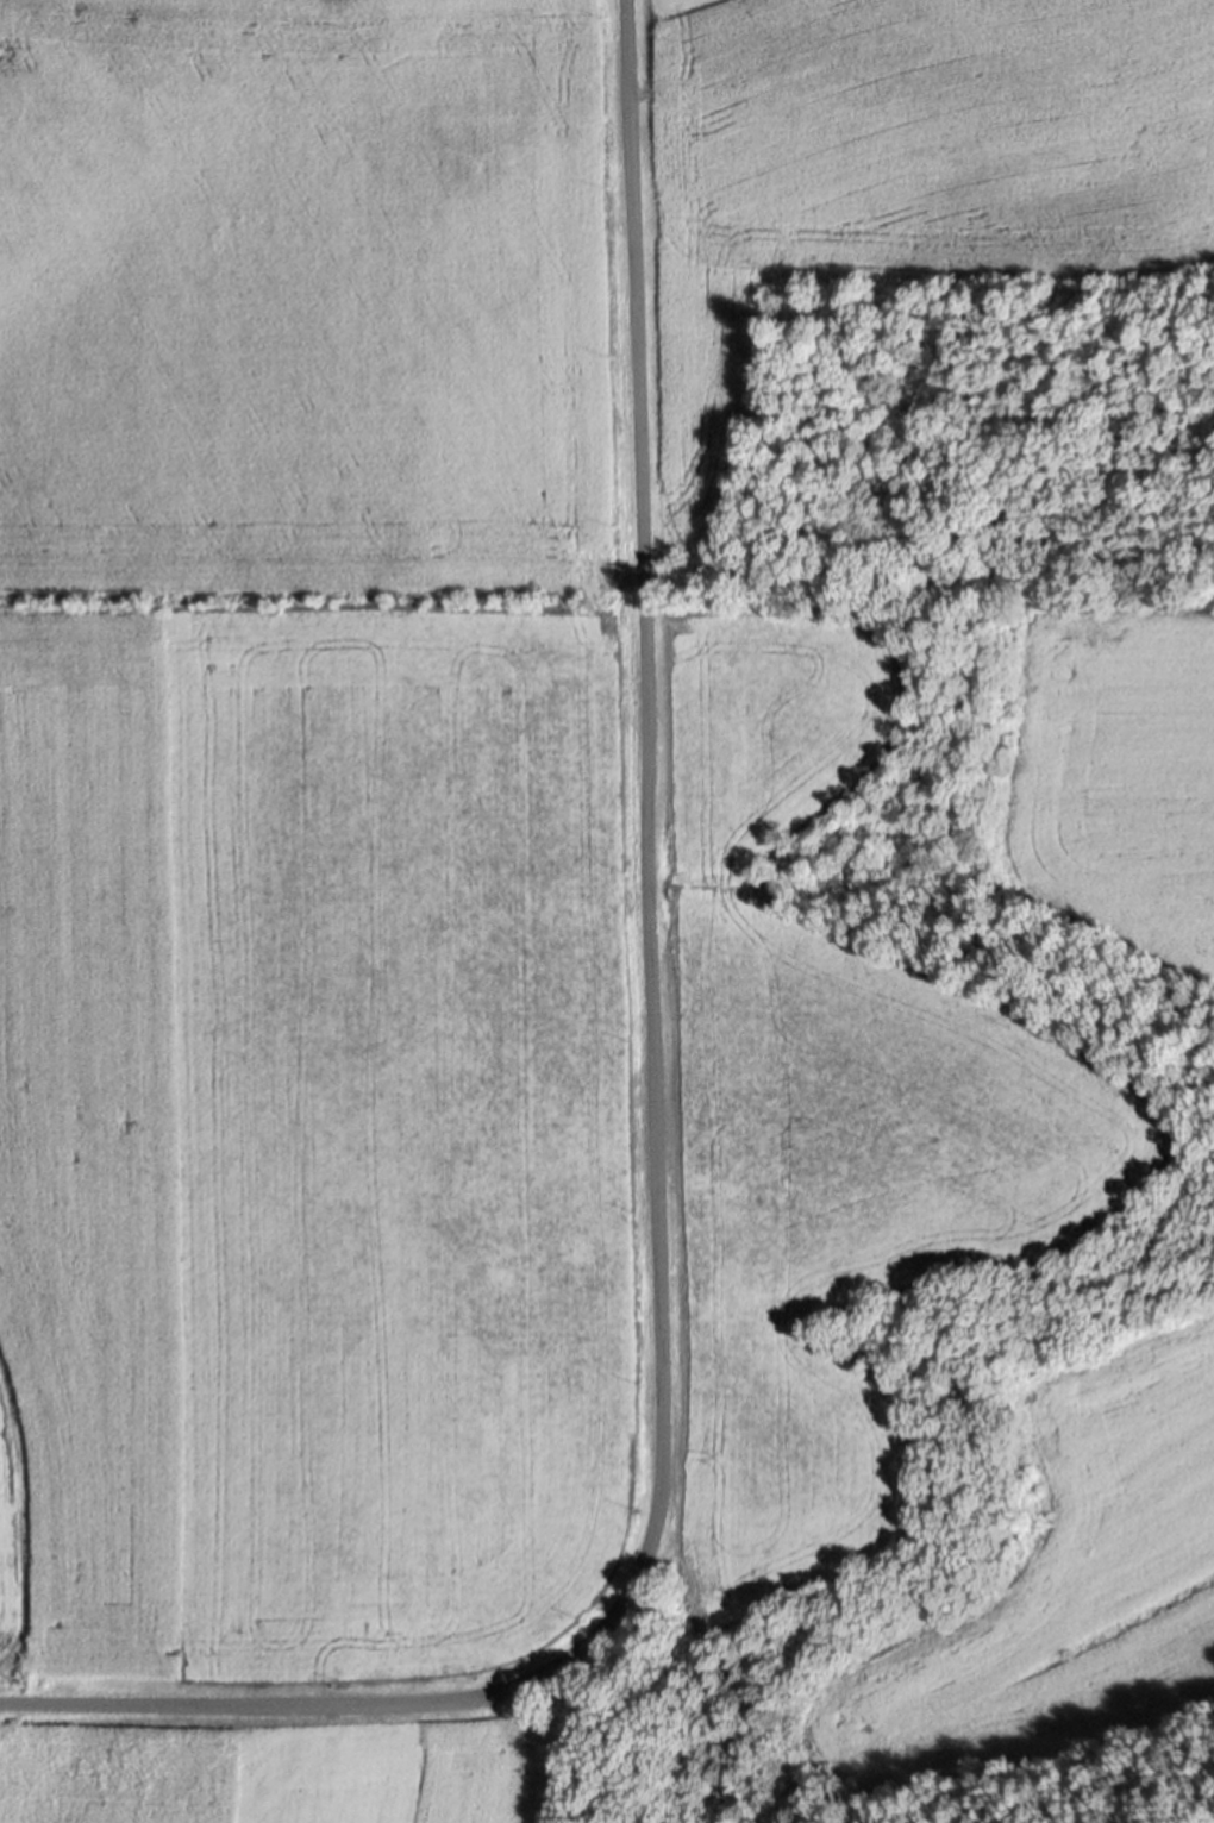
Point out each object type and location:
road: (653, 1133)

